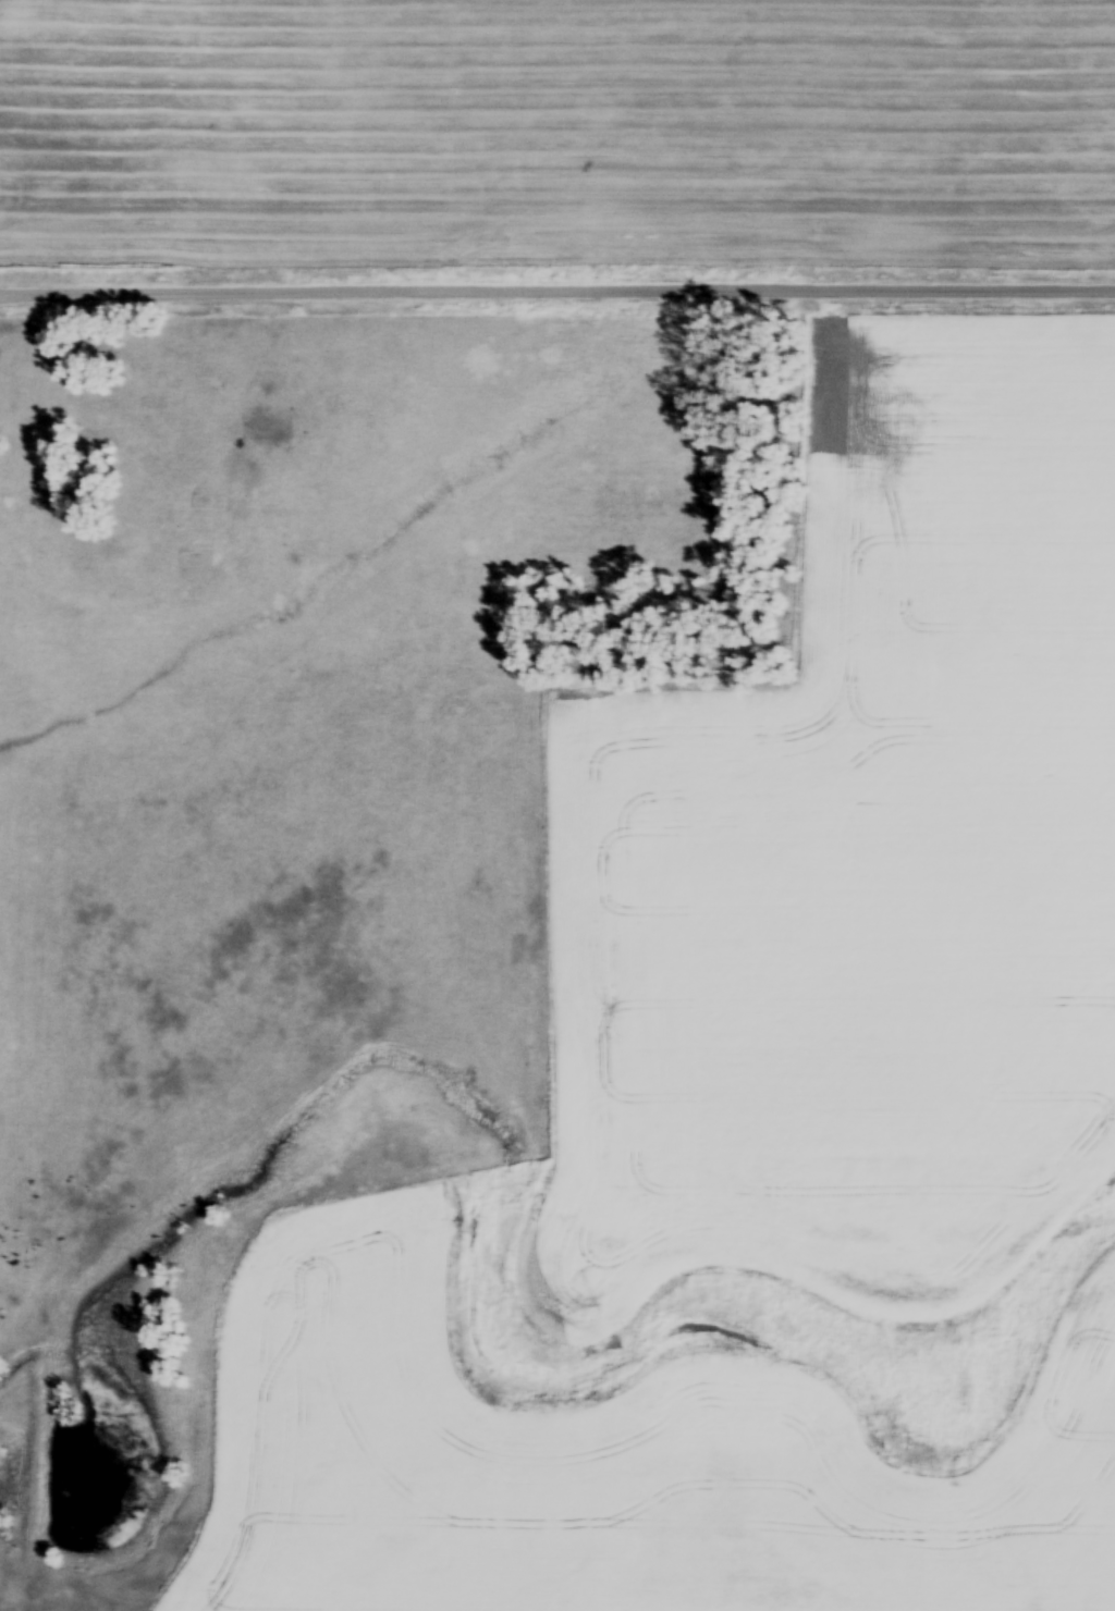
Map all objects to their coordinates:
road: (556, 295)

